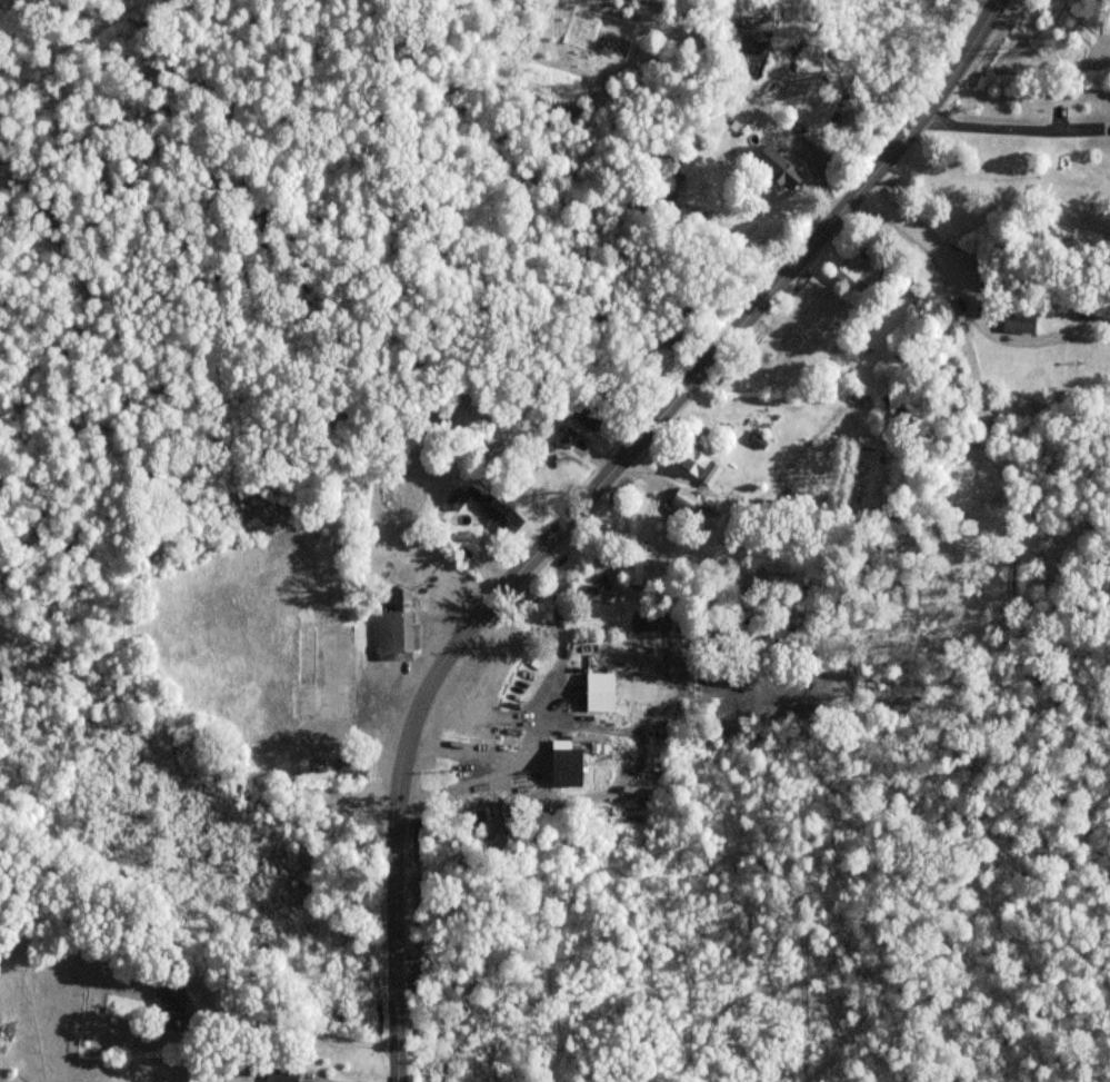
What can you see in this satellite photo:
road: (1017, 129)
building: (779, 166)
road: (818, 176)
building: (854, 272)
road: (964, 301)
building: (1021, 321)
building: (589, 416)
building: (567, 436)
road: (599, 454)
building: (697, 464)
road: (647, 471)
building: (456, 498)
road: (588, 498)
building: (684, 499)
building: (499, 513)
road: (586, 545)
road: (474, 557)
building: (637, 565)
building: (396, 625)
parking lot: (432, 637)
building: (309, 676)
building: (604, 693)
road: (374, 735)
building: (593, 755)
building: (350, 767)
road: (516, 768)
building: (177, 1003)
road: (311, 1033)
building: (288, 1075)

